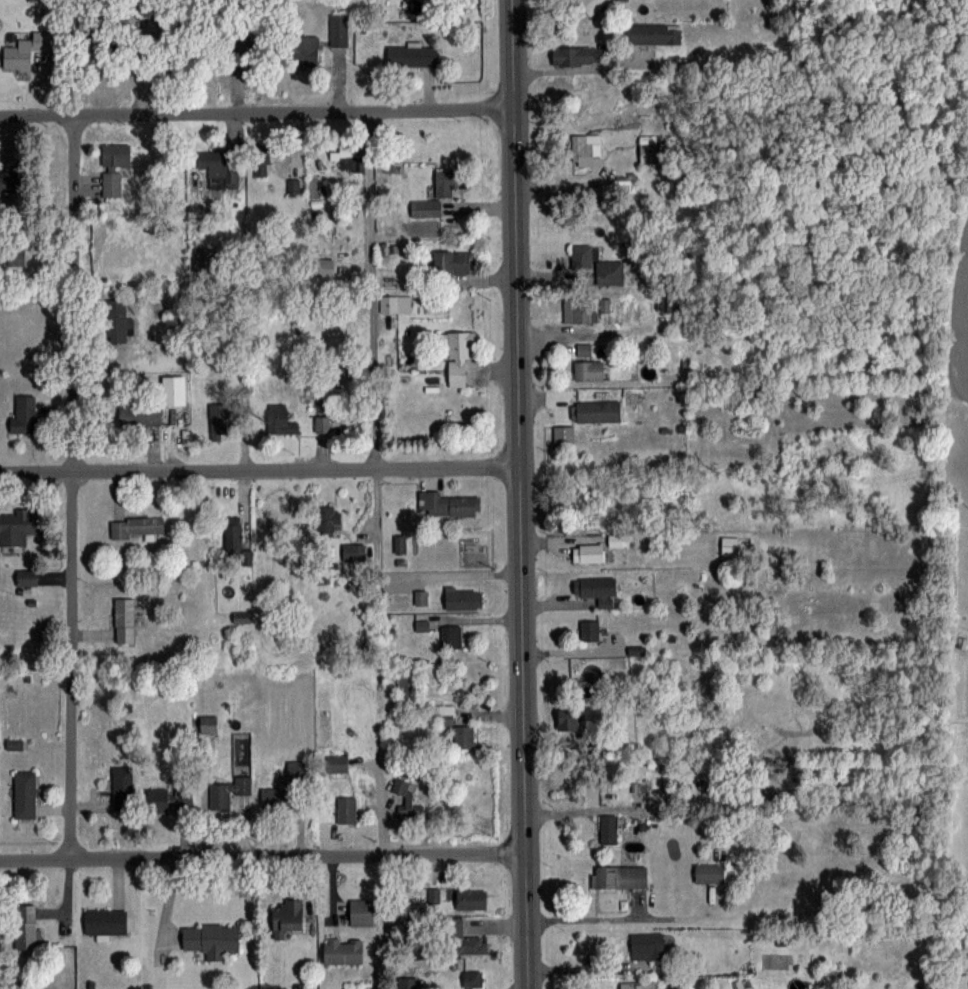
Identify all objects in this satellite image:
building: (591, 5)
building: (338, 29)
building: (653, 33)
building: (305, 51)
building: (102, 52)
building: (18, 55)
building: (412, 55)
building: (579, 55)
road: (579, 68)
road: (256, 111)
building: (342, 151)
building: (583, 151)
building: (650, 151)
building: (261, 162)
building: (114, 167)
building: (220, 168)
building: (629, 180)
building: (11, 181)
building: (293, 186)
building: (18, 258)
building: (453, 262)
building: (594, 265)
building: (326, 266)
road: (372, 289)
building: (395, 303)
crop: (955, 305)
building: (579, 310)
building: (118, 321)
building: (458, 359)
building: (588, 370)
building: (173, 389)
building: (596, 411)
building: (23, 413)
building: (139, 416)
building: (219, 420)
building: (279, 420)
building: (563, 435)
road: (259, 468)
road: (71, 485)
road: (520, 494)
building: (448, 504)
building: (327, 520)
building: (136, 526)
building: (15, 529)
building: (236, 539)
building: (617, 540)
building: (353, 551)
building: (588, 552)
building: (26, 577)
building: (597, 589)
building: (421, 597)
building: (463, 597)
building: (124, 619)
building: (422, 624)
building: (589, 630)
building: (451, 636)
road: (379, 661)
building: (406, 687)
building: (568, 719)
building: (208, 723)
building: (452, 727)
building: (337, 763)
building: (122, 780)
building: (228, 792)
building: (24, 795)
building: (169, 799)
building: (281, 799)
building: (406, 799)
building: (346, 809)
building: (609, 829)
road: (262, 856)
building: (709, 872)
building: (619, 876)
building: (471, 899)
building: (361, 912)
building: (287, 917)
road: (600, 918)
building: (106, 922)
building: (24, 928)
building: (461, 938)
building: (211, 939)
building: (646, 945)
building: (343, 950)
road: (586, 966)
building: (472, 978)
building: (407, 983)
building: (638, 984)

